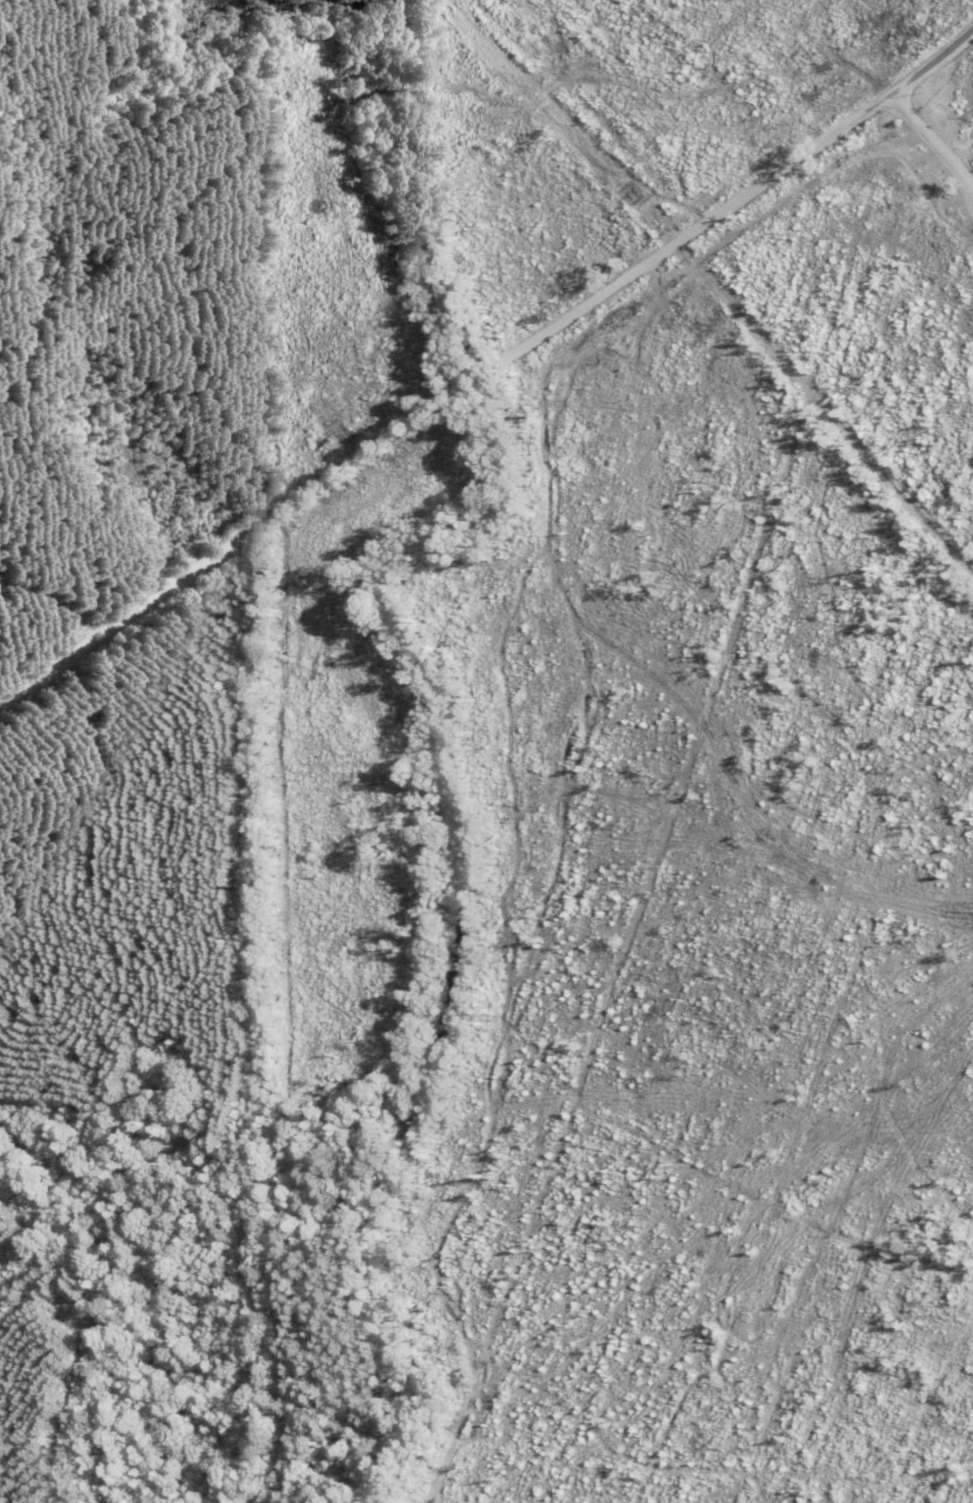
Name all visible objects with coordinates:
road: (934, 145)
road: (487, 366)

